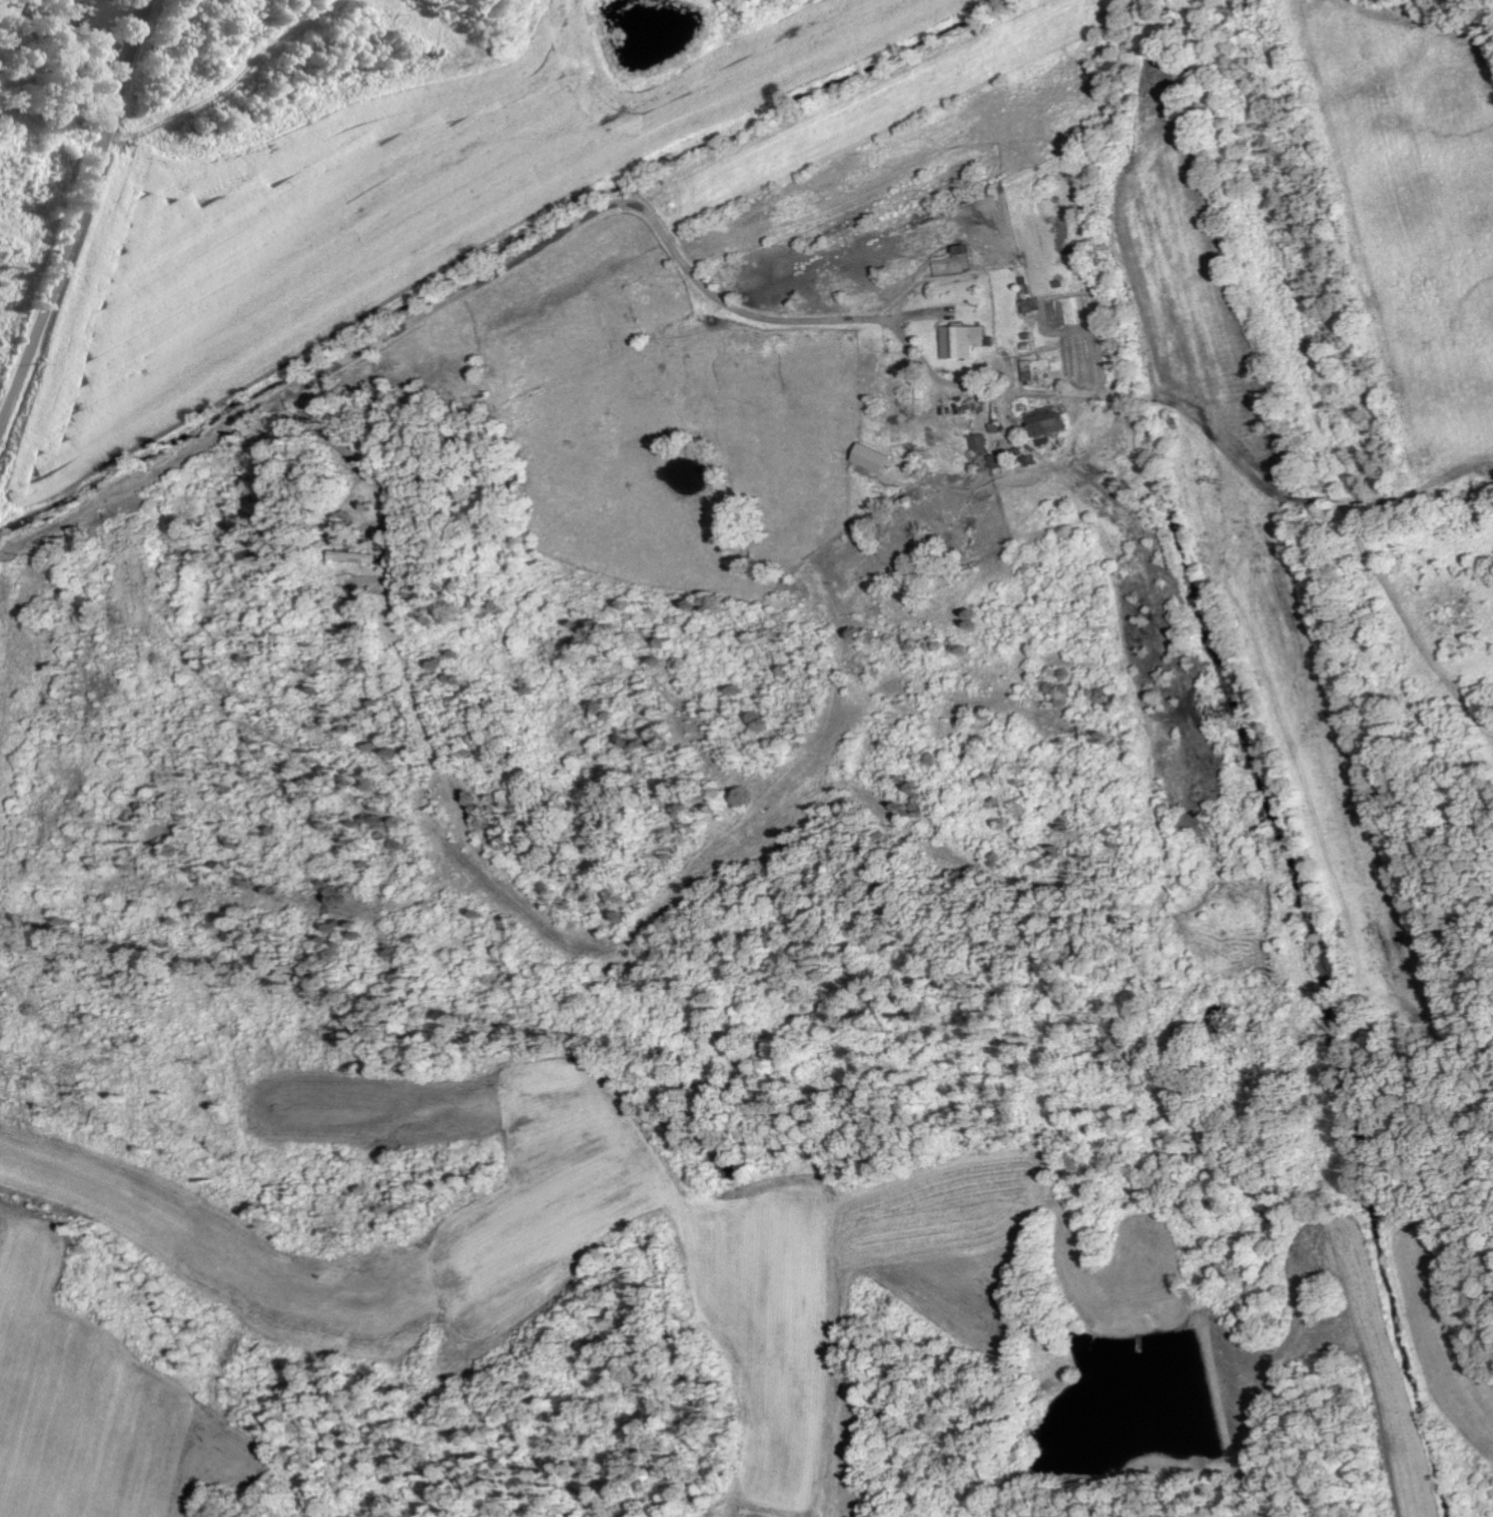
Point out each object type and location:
road: (81, 214)
building: (968, 341)
road: (526, 398)
building: (1055, 422)
building: (979, 442)
building: (879, 459)
building: (1000, 460)
building: (356, 556)

